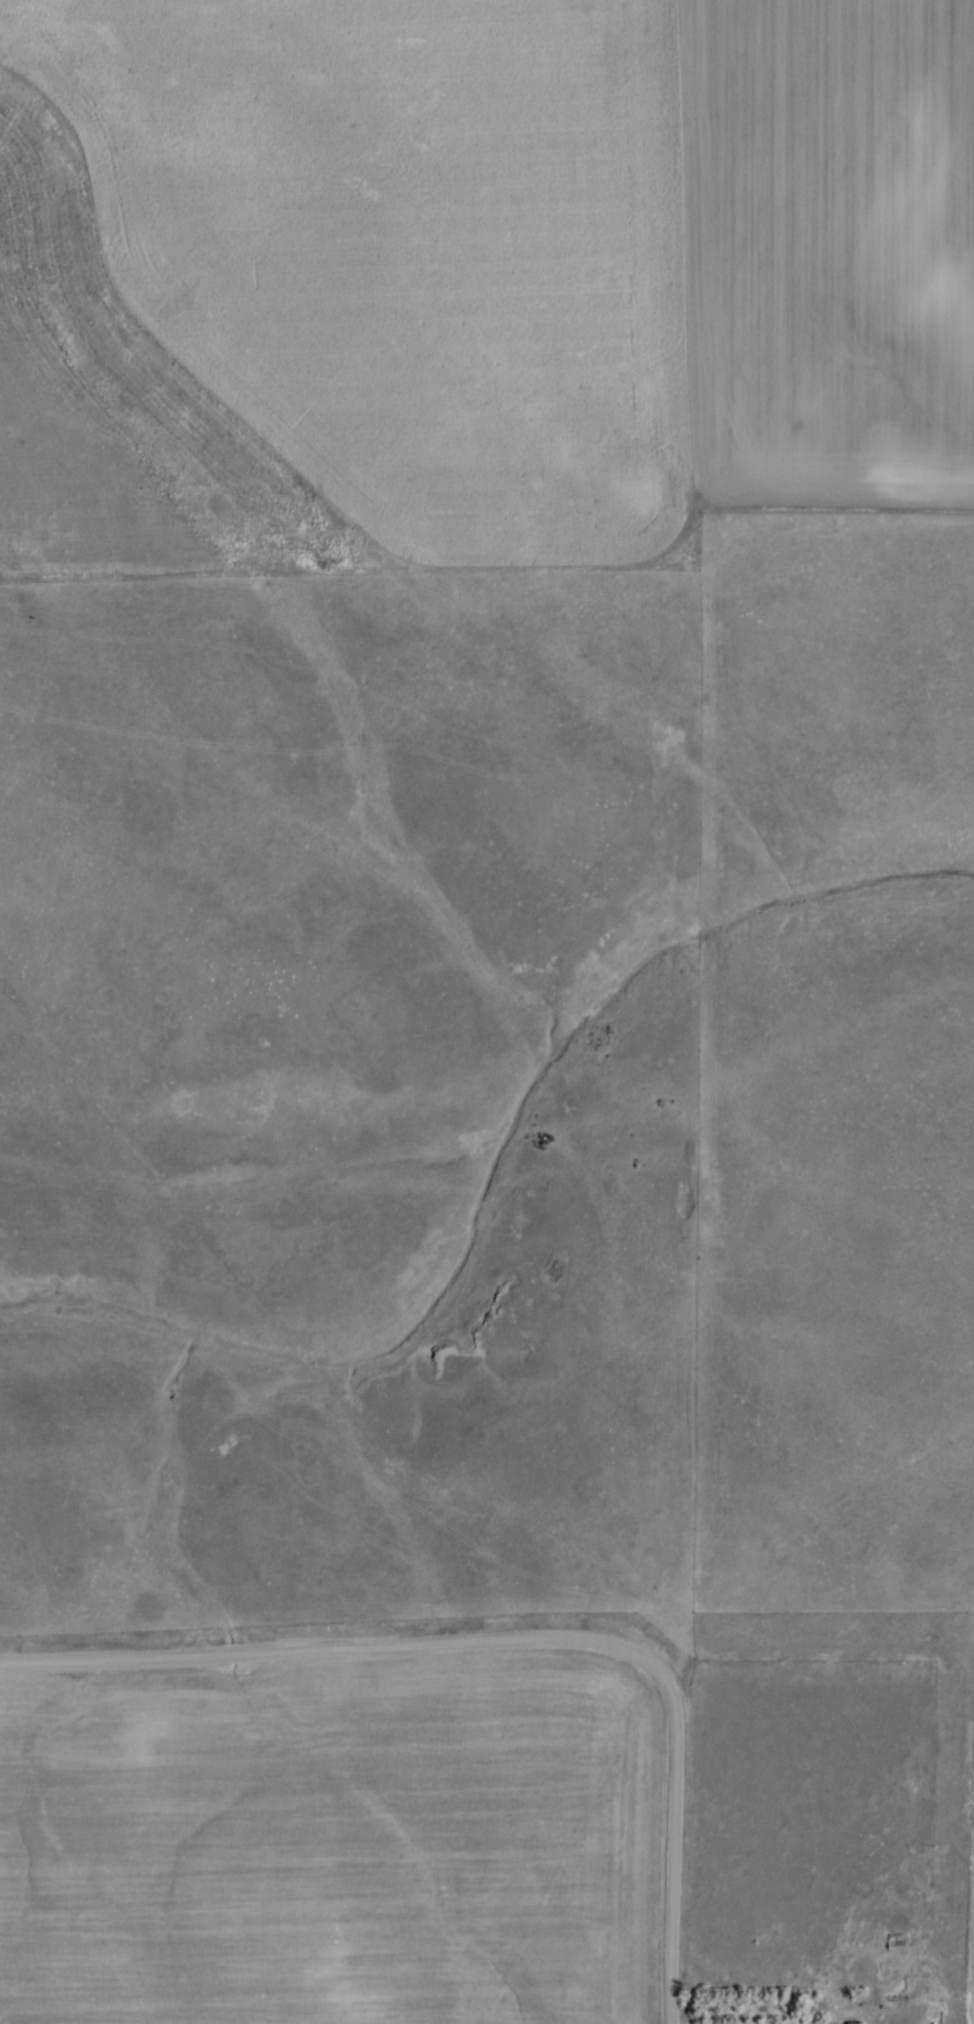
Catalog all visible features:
crop: (547, 247)
road: (327, 1648)
road: (675, 1840)
crop: (334, 1843)
crop: (971, 1920)
building: (893, 1940)
building: (851, 2022)

